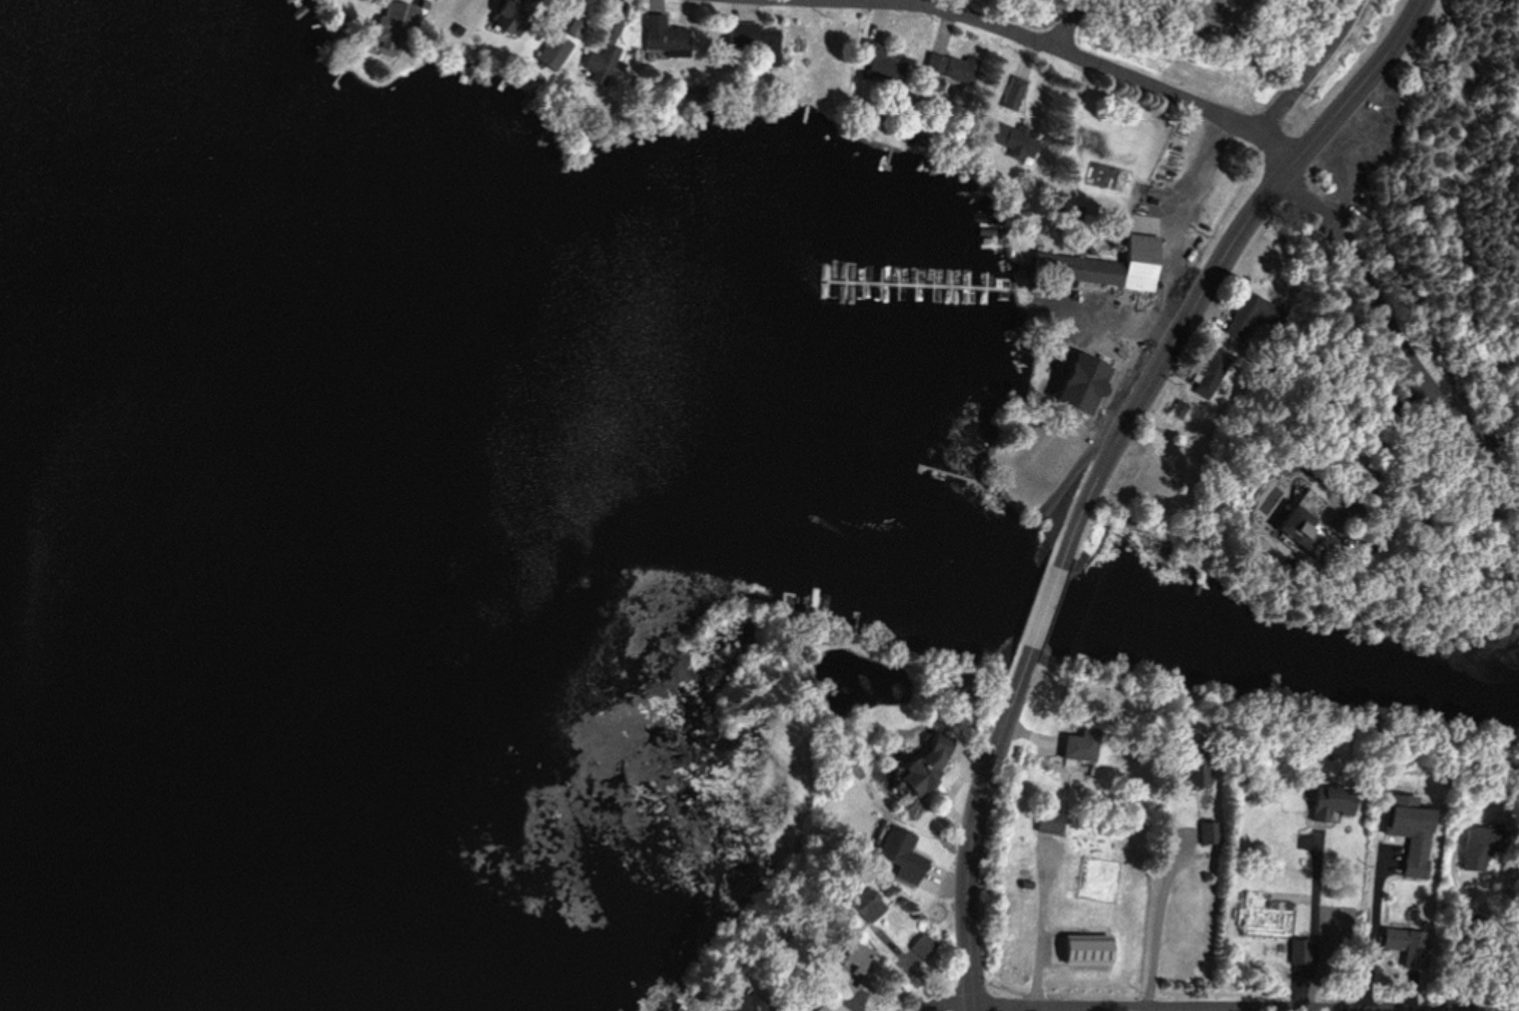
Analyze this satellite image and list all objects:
building: (507, 17)
road: (1074, 23)
building: (390, 26)
building: (663, 37)
building: (758, 41)
road: (1101, 62)
building: (598, 64)
building: (879, 64)
road: (1318, 67)
building: (955, 69)
building: (1013, 94)
building: (1013, 140)
building: (1104, 265)
road: (1219, 275)
building: (1518, 312)
road: (1392, 319)
building: (1081, 383)
building: (1307, 519)
building: (1079, 746)
building: (920, 767)
building: (1199, 770)
road: (990, 789)
building: (1327, 804)
building: (1402, 821)
building: (1207, 833)
building: (904, 859)
building: (864, 904)
building: (1267, 917)
road: (1156, 921)
road: (1313, 924)
road: (1372, 928)
building: (922, 947)
building: (1300, 954)
building: (856, 961)
road: (948, 996)
building: (747, 1004)
road: (1247, 1008)

